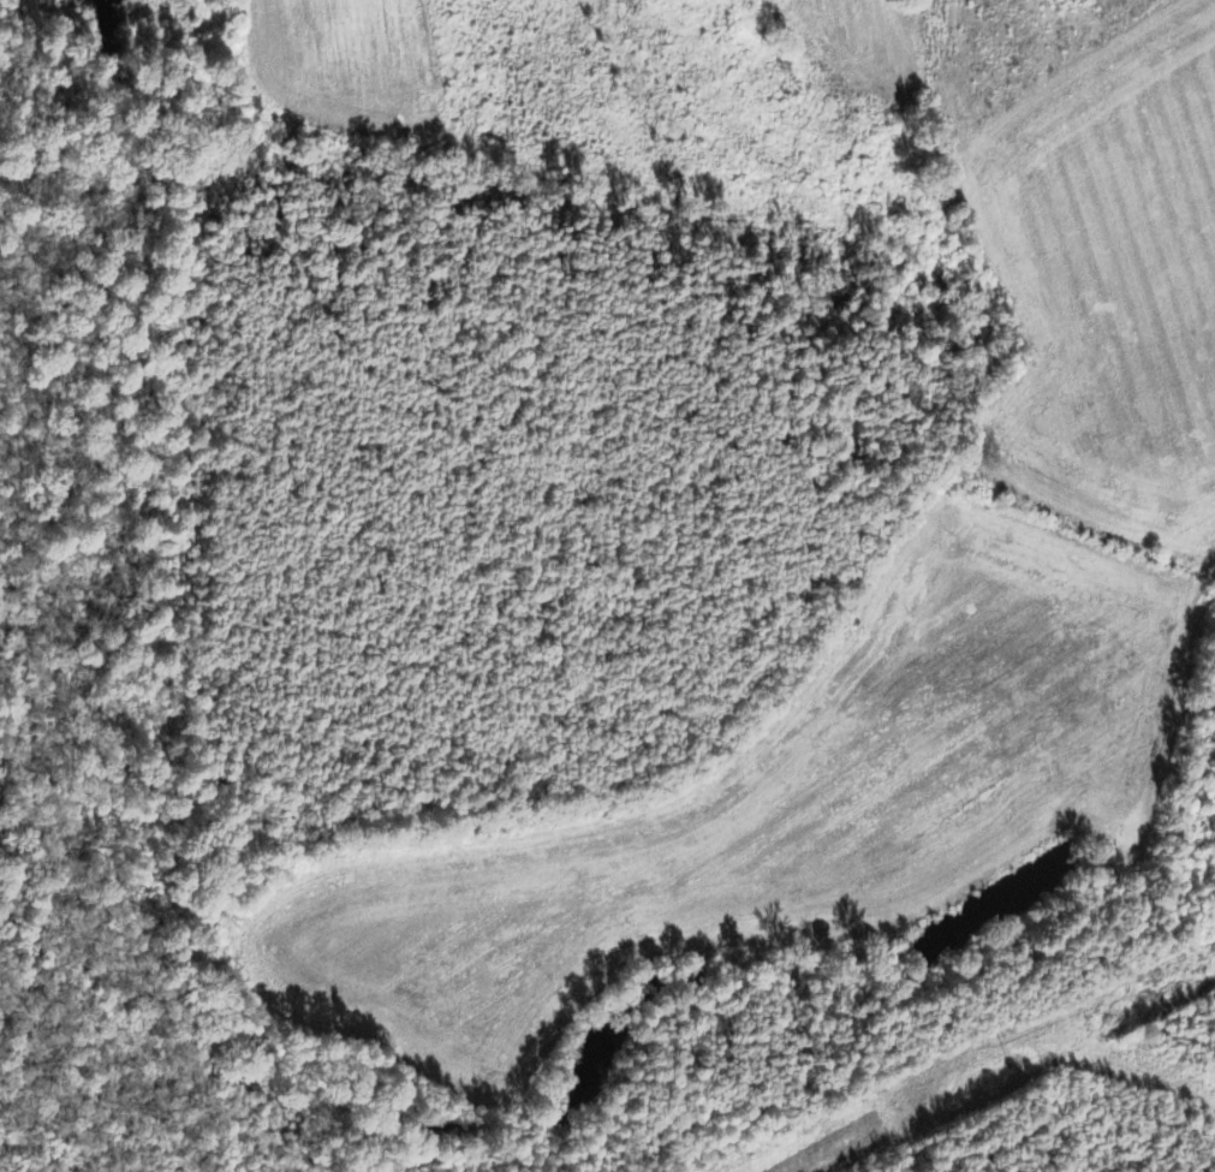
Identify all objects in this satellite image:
road: (1201, 932)

